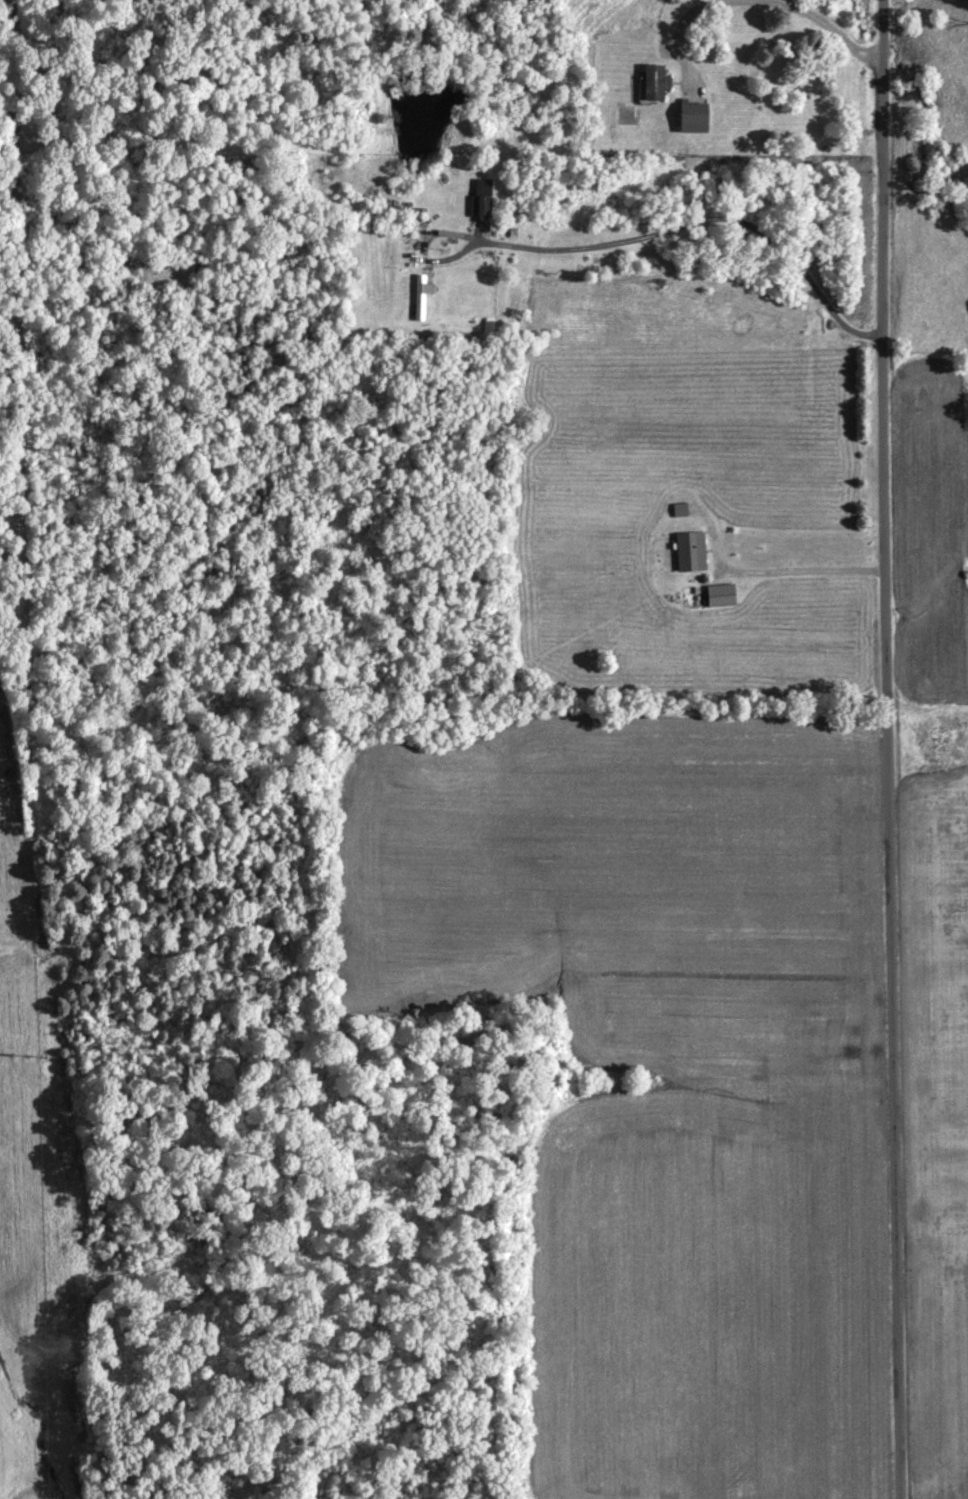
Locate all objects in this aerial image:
building: (647, 87)
building: (684, 122)
building: (475, 202)
building: (415, 301)
building: (683, 555)
building: (713, 599)
road: (887, 749)
road: (717, 996)
power tower: (23, 1056)

